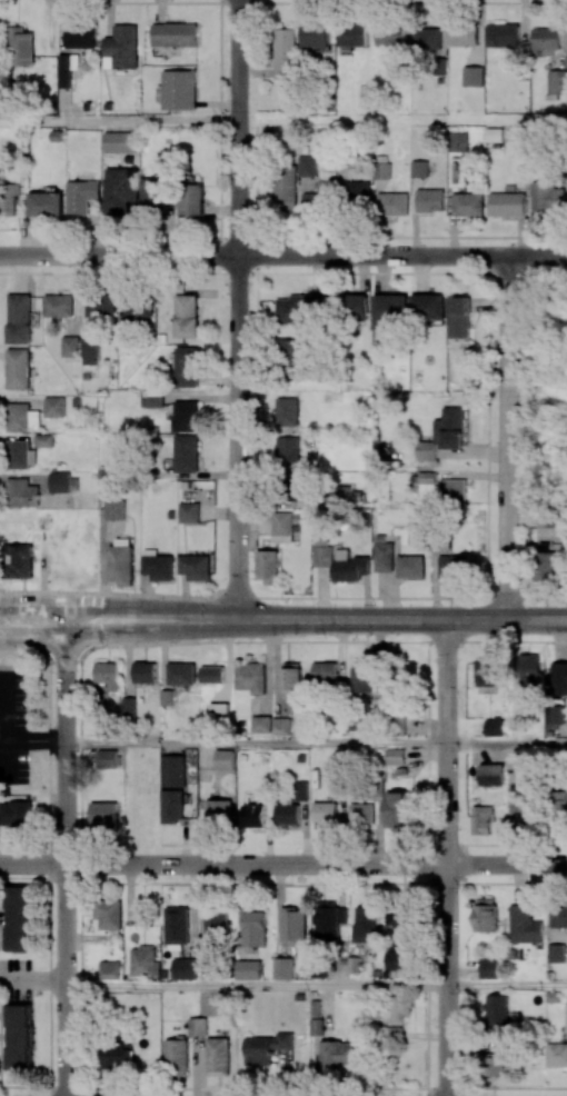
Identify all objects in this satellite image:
building: (173, 34)
building: (316, 34)
building: (354, 34)
building: (464, 34)
building: (503, 34)
building: (389, 36)
building: (80, 37)
building: (426, 38)
building: (546, 38)
building: (21, 46)
building: (121, 48)
building: (283, 53)
building: (64, 71)
building: (472, 76)
building: (555, 83)
building: (179, 90)
road: (404, 120)
road: (120, 121)
building: (120, 141)
building: (458, 141)
building: (307, 166)
building: (381, 167)
building: (419, 168)
building: (285, 187)
building: (120, 189)
building: (153, 191)
building: (357, 192)
building: (81, 196)
building: (8, 198)
building: (548, 198)
building: (192, 199)
building: (315, 199)
building: (430, 200)
building: (46, 203)
building: (392, 203)
building: (468, 203)
building: (507, 203)
road: (283, 256)
building: (101, 305)
building: (59, 306)
building: (354, 306)
building: (428, 306)
building: (300, 309)
building: (137, 310)
building: (390, 312)
road: (239, 315)
building: (186, 316)
building: (459, 317)
building: (19, 319)
building: (70, 346)
building: (89, 350)
building: (291, 352)
building: (186, 366)
building: (18, 368)
building: (53, 407)
building: (288, 411)
building: (186, 415)
building: (21, 417)
building: (450, 428)
road: (507, 438)
building: (43, 440)
building: (288, 449)
building: (426, 450)
building: (186, 452)
building: (18, 455)
building: (427, 481)
building: (62, 482)
building: (452, 490)
building: (22, 492)
building: (115, 509)
building: (189, 511)
building: (282, 527)
building: (322, 552)
building: (384, 557)
building: (20, 560)
building: (121, 561)
building: (550, 562)
building: (195, 566)
building: (267, 566)
building: (350, 566)
building: (410, 566)
building: (452, 566)
building: (158, 567)
road: (282, 597)
road: (222, 609)
road: (505, 619)
road: (222, 629)
road: (282, 641)
building: (529, 670)
building: (145, 671)
building: (324, 671)
building: (181, 672)
building: (486, 672)
building: (108, 674)
building: (211, 675)
building: (291, 676)
building: (362, 676)
building: (251, 677)
building: (558, 678)
building: (128, 706)
building: (219, 710)
building: (555, 715)
building: (101, 717)
building: (260, 724)
building: (280, 726)
building: (495, 727)
road: (32, 744)
road: (255, 744)
road: (506, 745)
building: (395, 756)
building: (107, 758)
building: (223, 759)
building: (173, 770)
building: (491, 774)
building: (301, 790)
building: (558, 805)
building: (172, 806)
building: (399, 810)
building: (324, 811)
building: (14, 813)
building: (218, 813)
building: (287, 813)
building: (103, 814)
building: (361, 814)
building: (523, 814)
building: (252, 815)
building: (481, 819)
road: (64, 849)
road: (445, 857)
road: (283, 864)
building: (108, 914)
building: (486, 915)
building: (558, 915)
building: (20, 918)
building: (400, 918)
building: (216, 923)
building: (329, 923)
building: (364, 924)
building: (177, 925)
building: (292, 925)
building: (524, 925)
building: (253, 928)
building: (556, 953)
building: (143, 962)
building: (396, 964)
building: (489, 967)
building: (185, 968)
building: (282, 968)
building: (109, 969)
building: (247, 969)
road: (32, 978)
road: (256, 985)
road: (506, 985)
building: (399, 1009)
building: (497, 1013)
building: (566, 1017)
building: (316, 1020)
building: (197, 1026)
building: (19, 1036)
building: (266, 1047)
building: (556, 1054)
building: (117, 1055)
building: (338, 1055)
building: (176, 1056)
building: (218, 1056)
building: (493, 1065)

